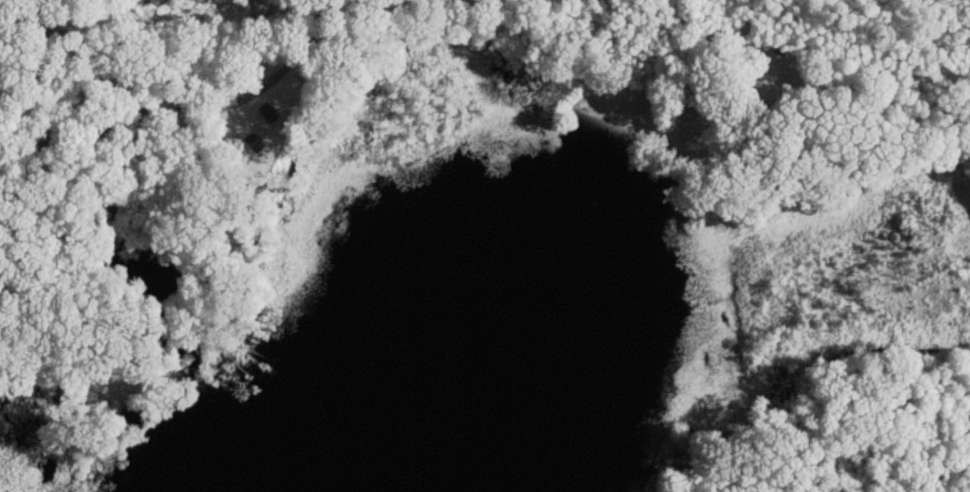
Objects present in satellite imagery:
park: (140, 252)
park: (852, 437)

